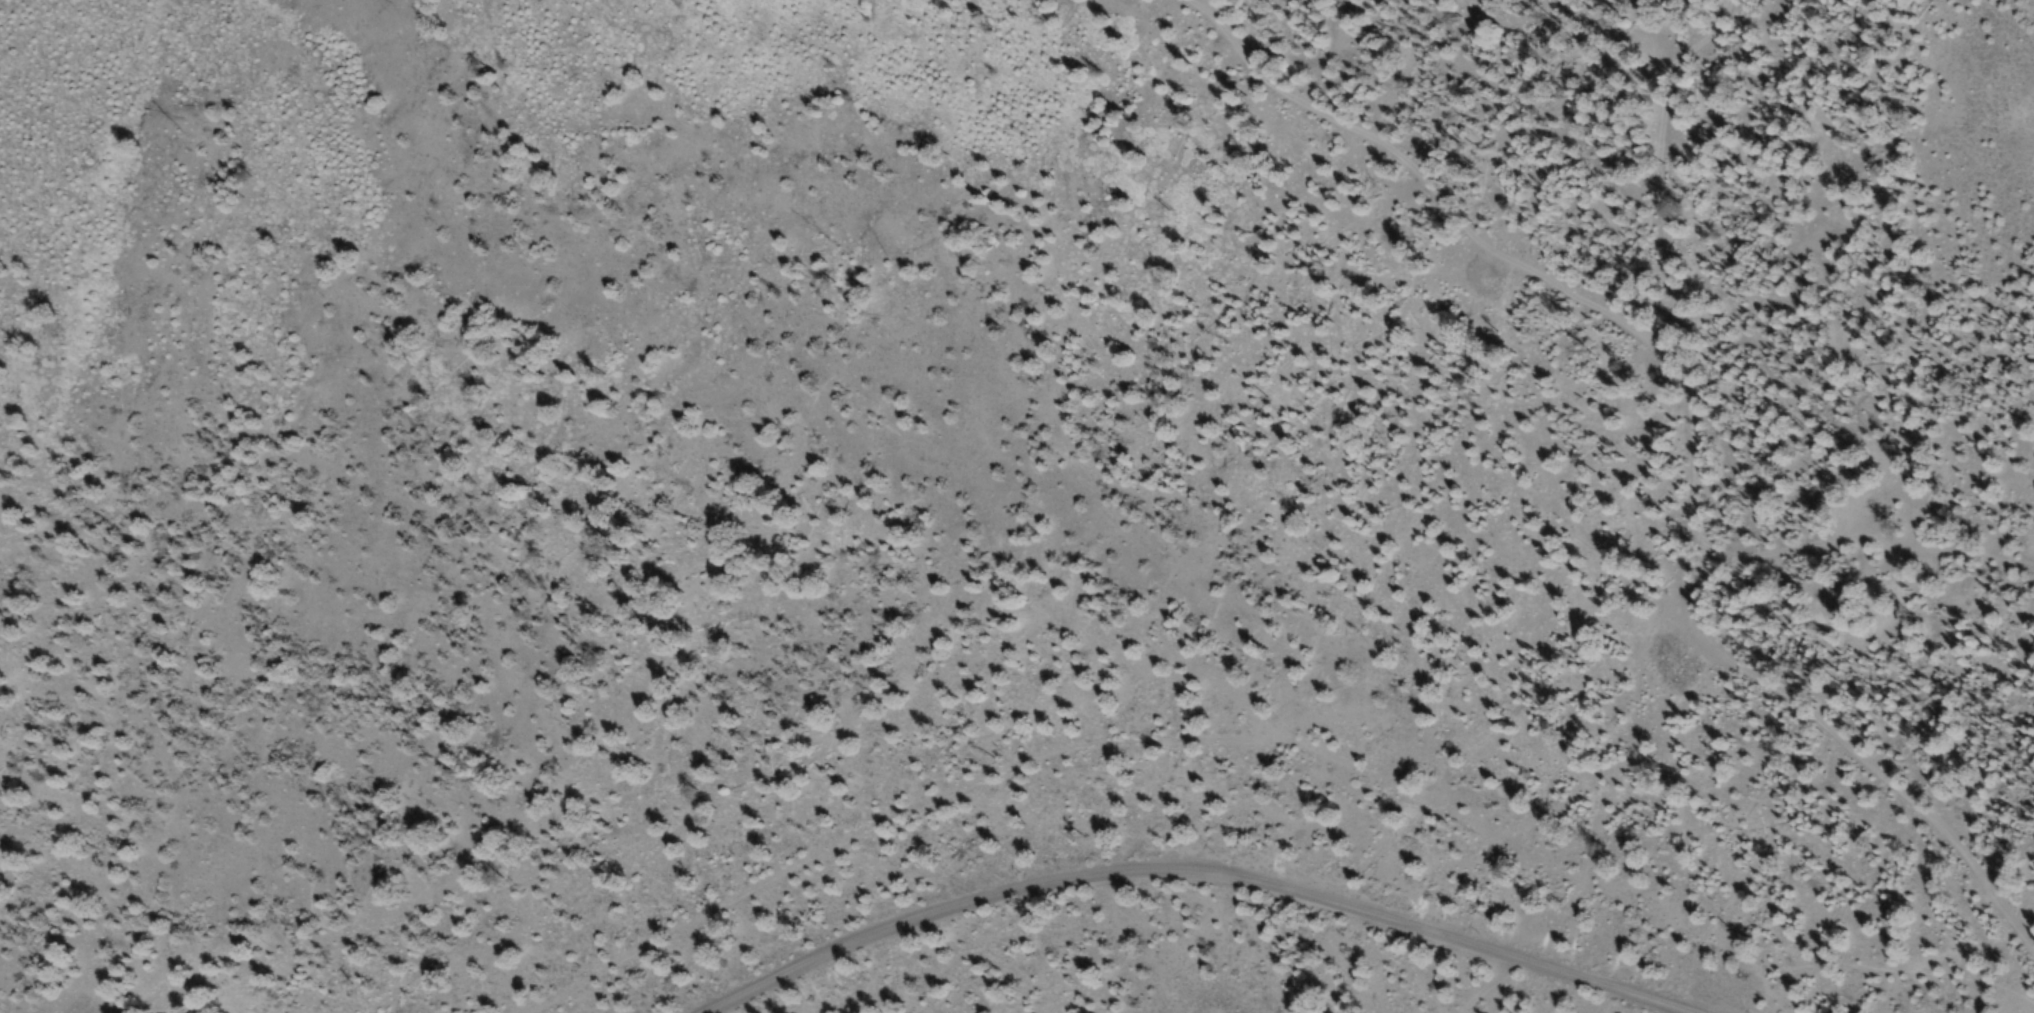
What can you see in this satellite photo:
road: (1411, 186)
road: (1691, 528)
road: (1862, 540)
road: (1263, 729)
road: (1202, 874)
road: (1485, 984)

